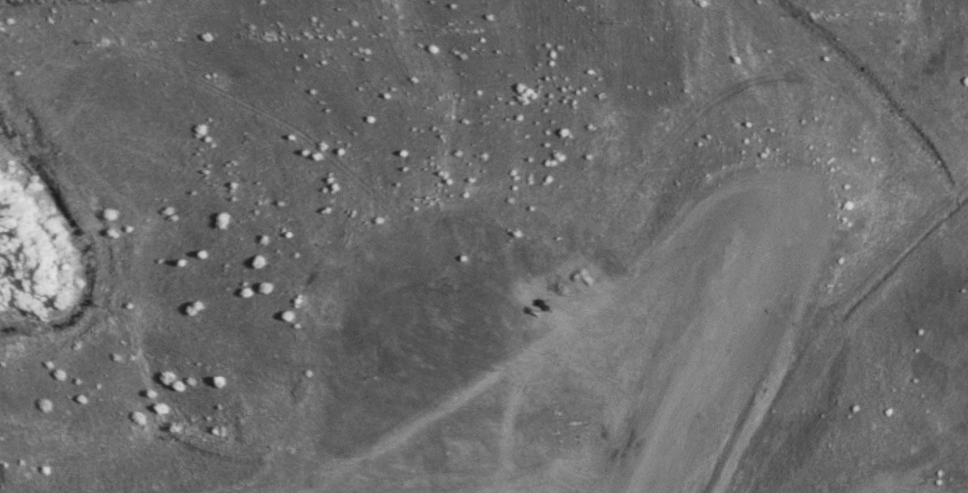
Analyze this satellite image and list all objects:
quarry: (484, 246)

